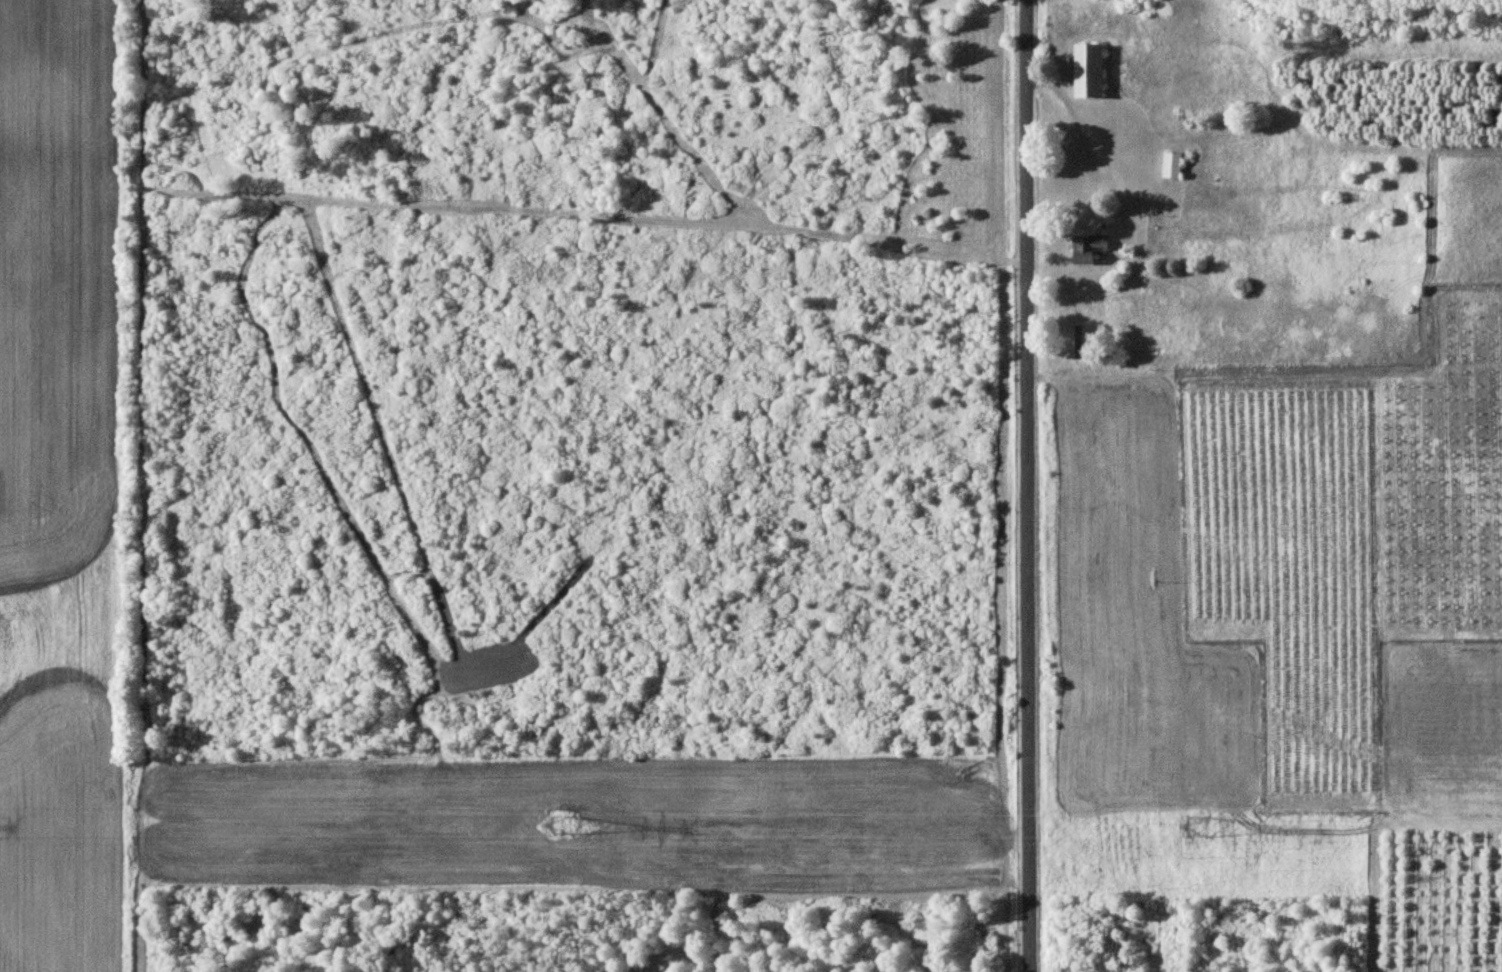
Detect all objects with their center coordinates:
building: (1090, 71)
building: (1174, 165)
building: (1091, 250)
road: (1030, 486)
power tower: (1200, 822)
power tower: (564, 823)

